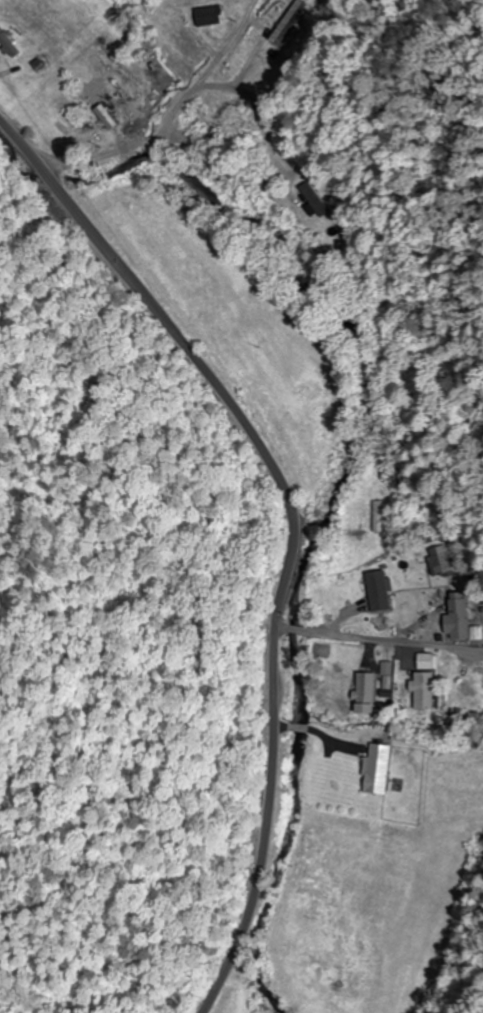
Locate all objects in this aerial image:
building: (208, 15)
building: (8, 44)
road: (173, 114)
road: (22, 144)
building: (314, 198)
building: (378, 515)
road: (292, 557)
building: (440, 560)
building: (378, 590)
building: (459, 619)
road: (378, 643)
building: (387, 674)
building: (474, 684)
building: (423, 690)
building: (365, 692)
building: (377, 768)

